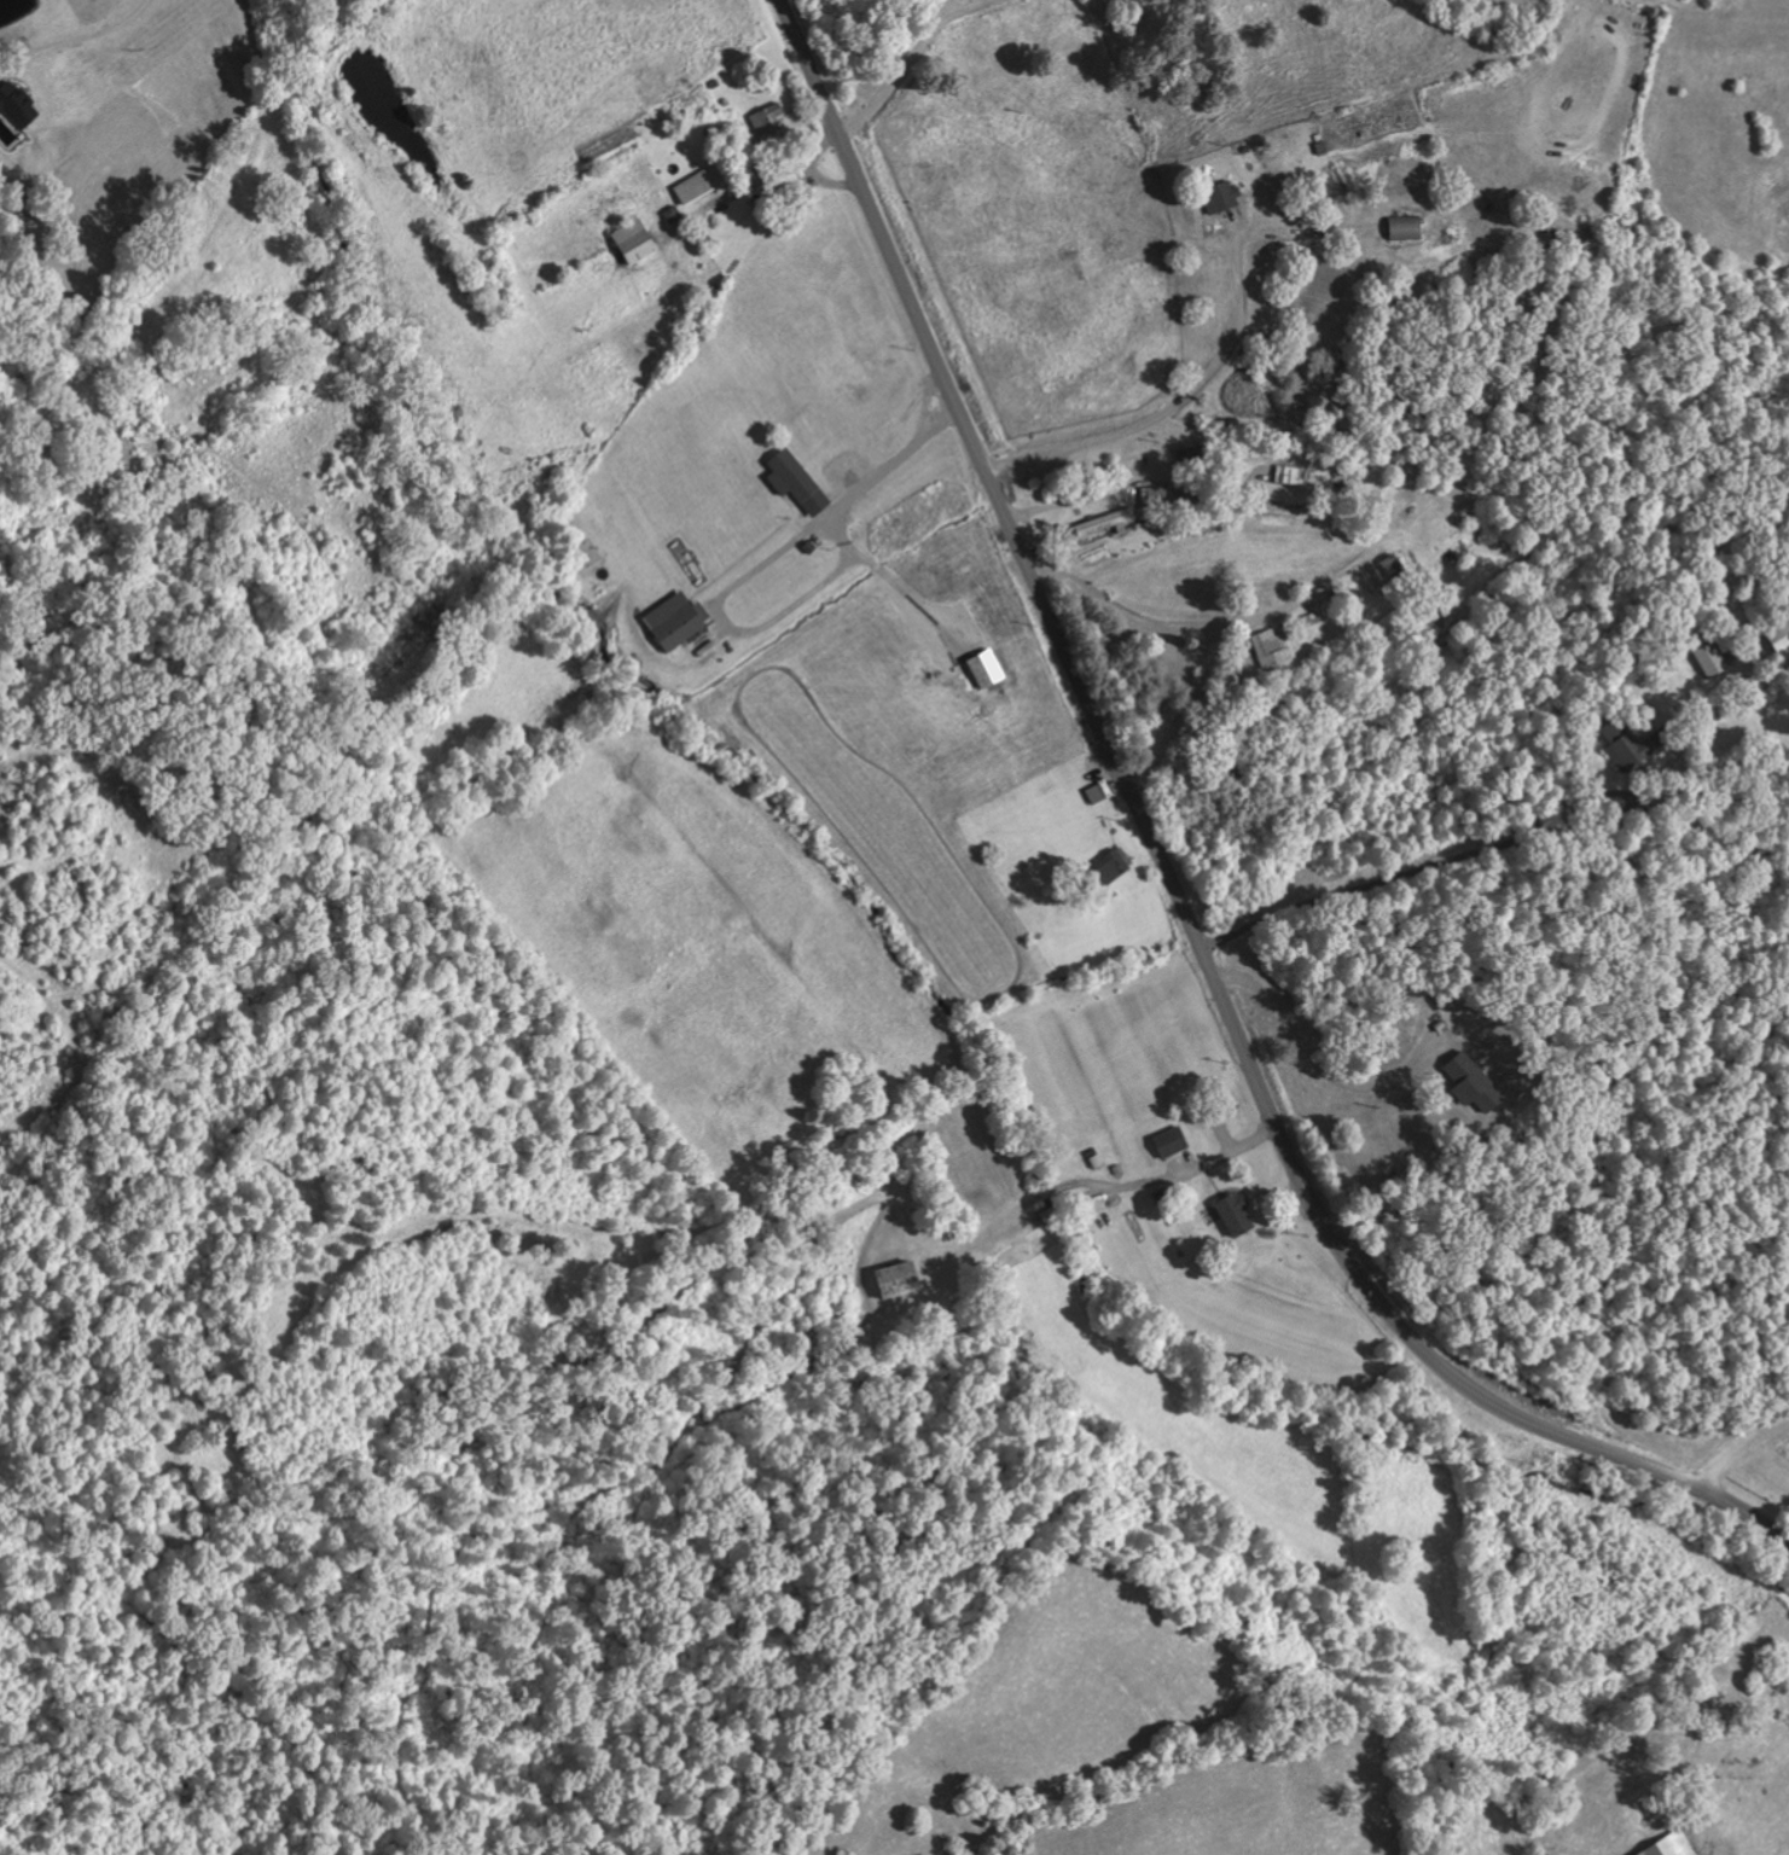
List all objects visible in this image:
building: (18, 117)
building: (769, 122)
building: (698, 187)
building: (1226, 197)
building: (676, 215)
building: (1408, 227)
building: (639, 240)
road: (1119, 368)
building: (800, 482)
building: (1163, 496)
building: (1109, 523)
building: (680, 621)
building: (1272, 647)
building: (1715, 659)
building: (989, 669)
building: (1633, 744)
building: (1098, 795)
building: (1115, 865)
road: (1172, 873)
building: (1475, 1082)
building: (1174, 1142)
building: (1239, 1214)
building: (902, 1280)
road: (1768, 1489)
building: (1672, 1845)

